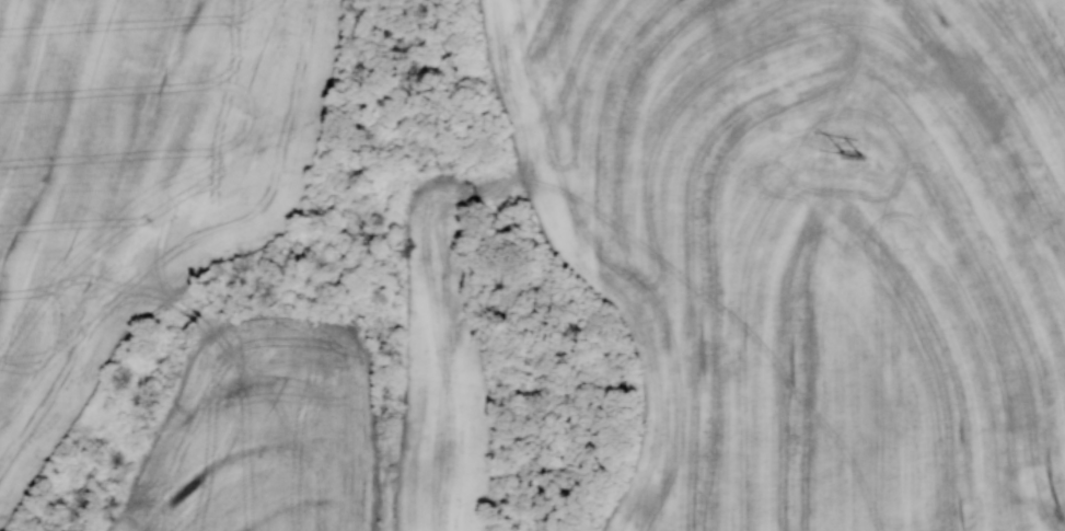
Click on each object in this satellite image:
power tower: (856, 154)

